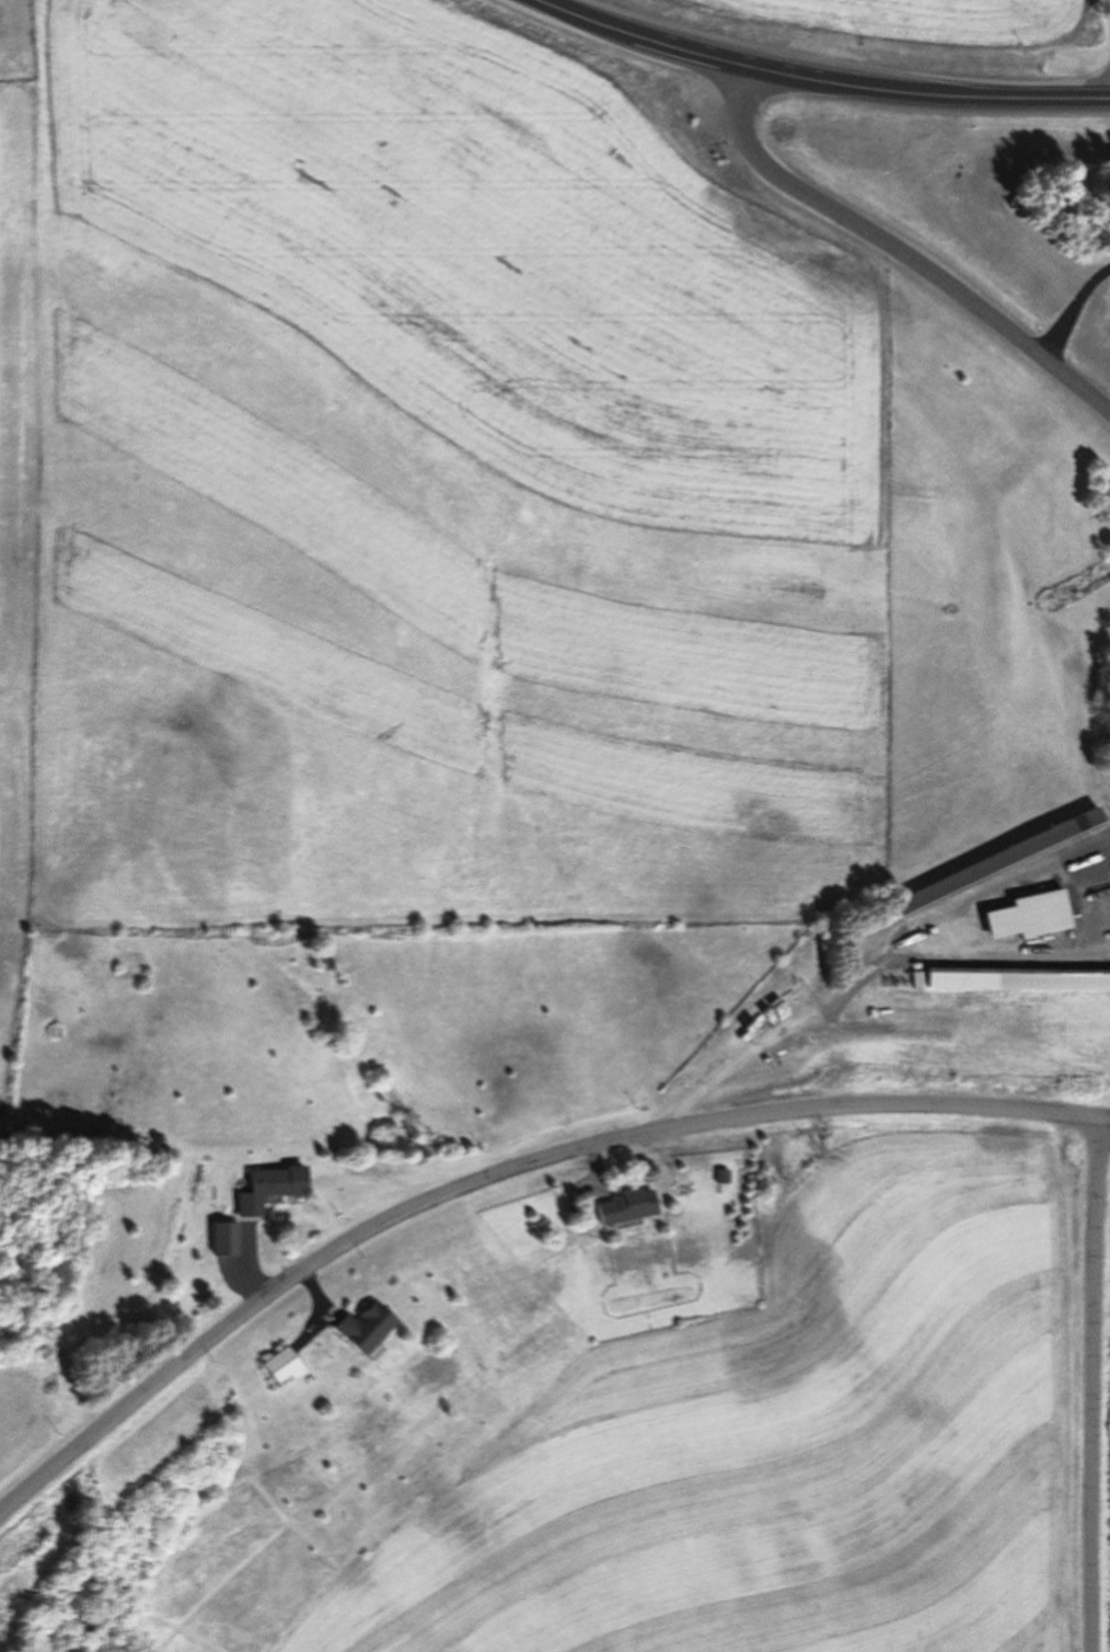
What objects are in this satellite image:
road: (821, 80)
road: (900, 248)
building: (1030, 917)
building: (1017, 980)
road: (504, 1171)
building: (268, 1189)
building: (623, 1207)
building: (223, 1240)
building: (363, 1329)
building: (280, 1367)
road: (1095, 1381)

